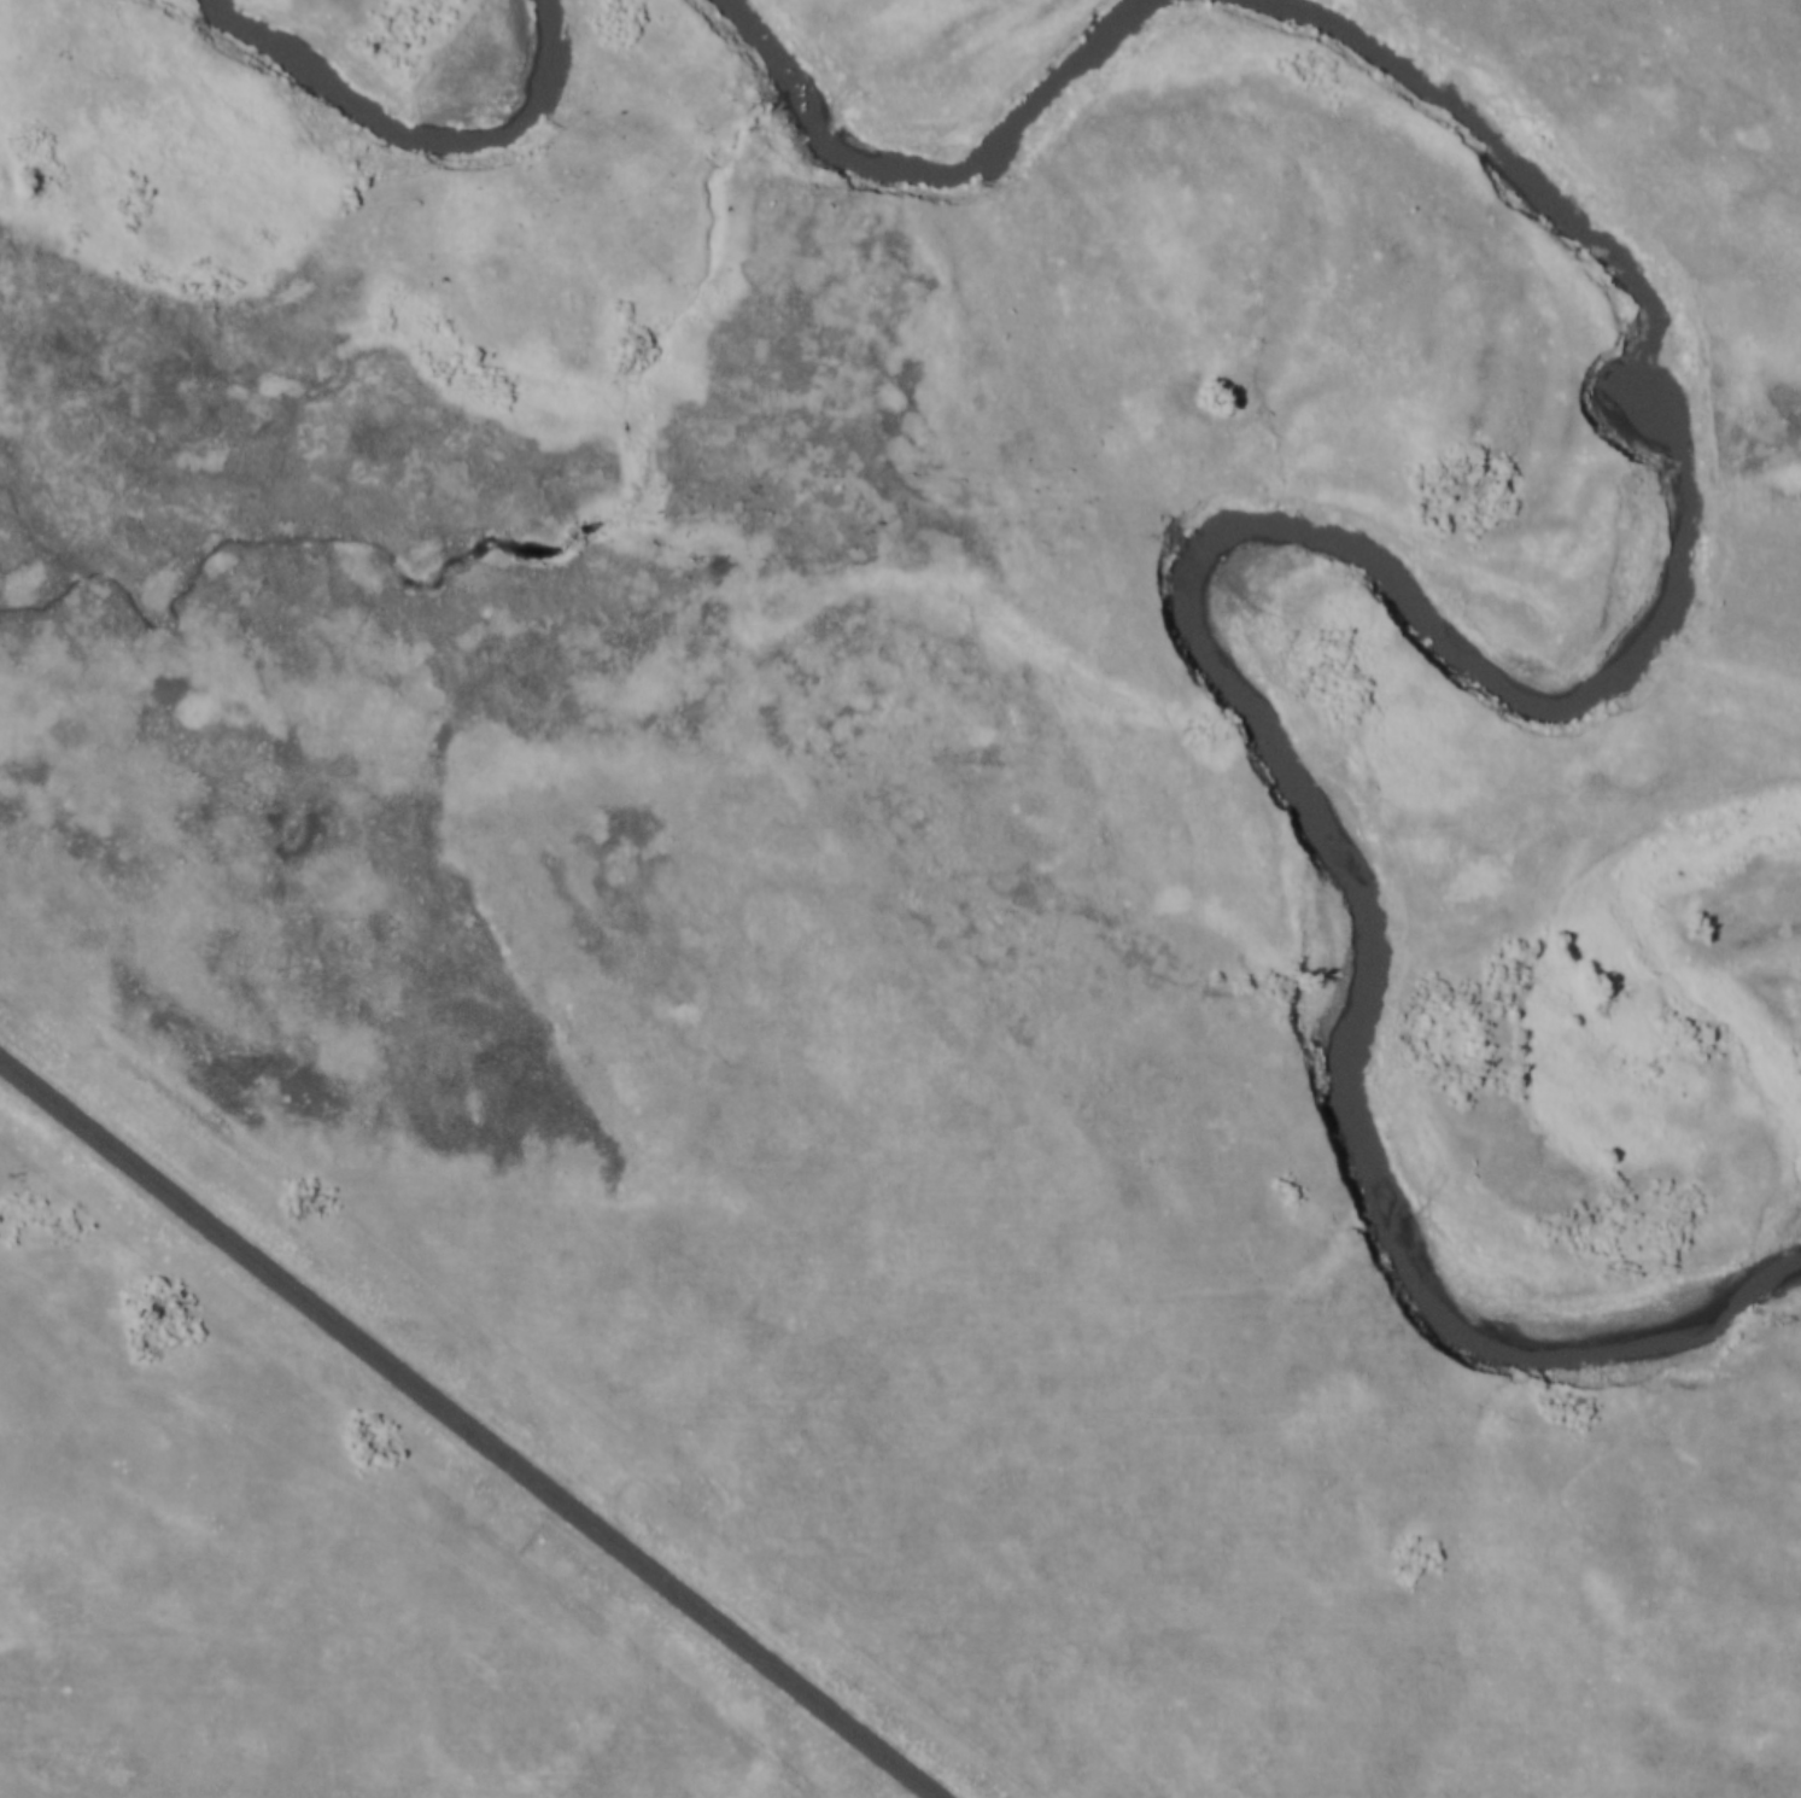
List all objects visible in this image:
road: (472, 1426)

